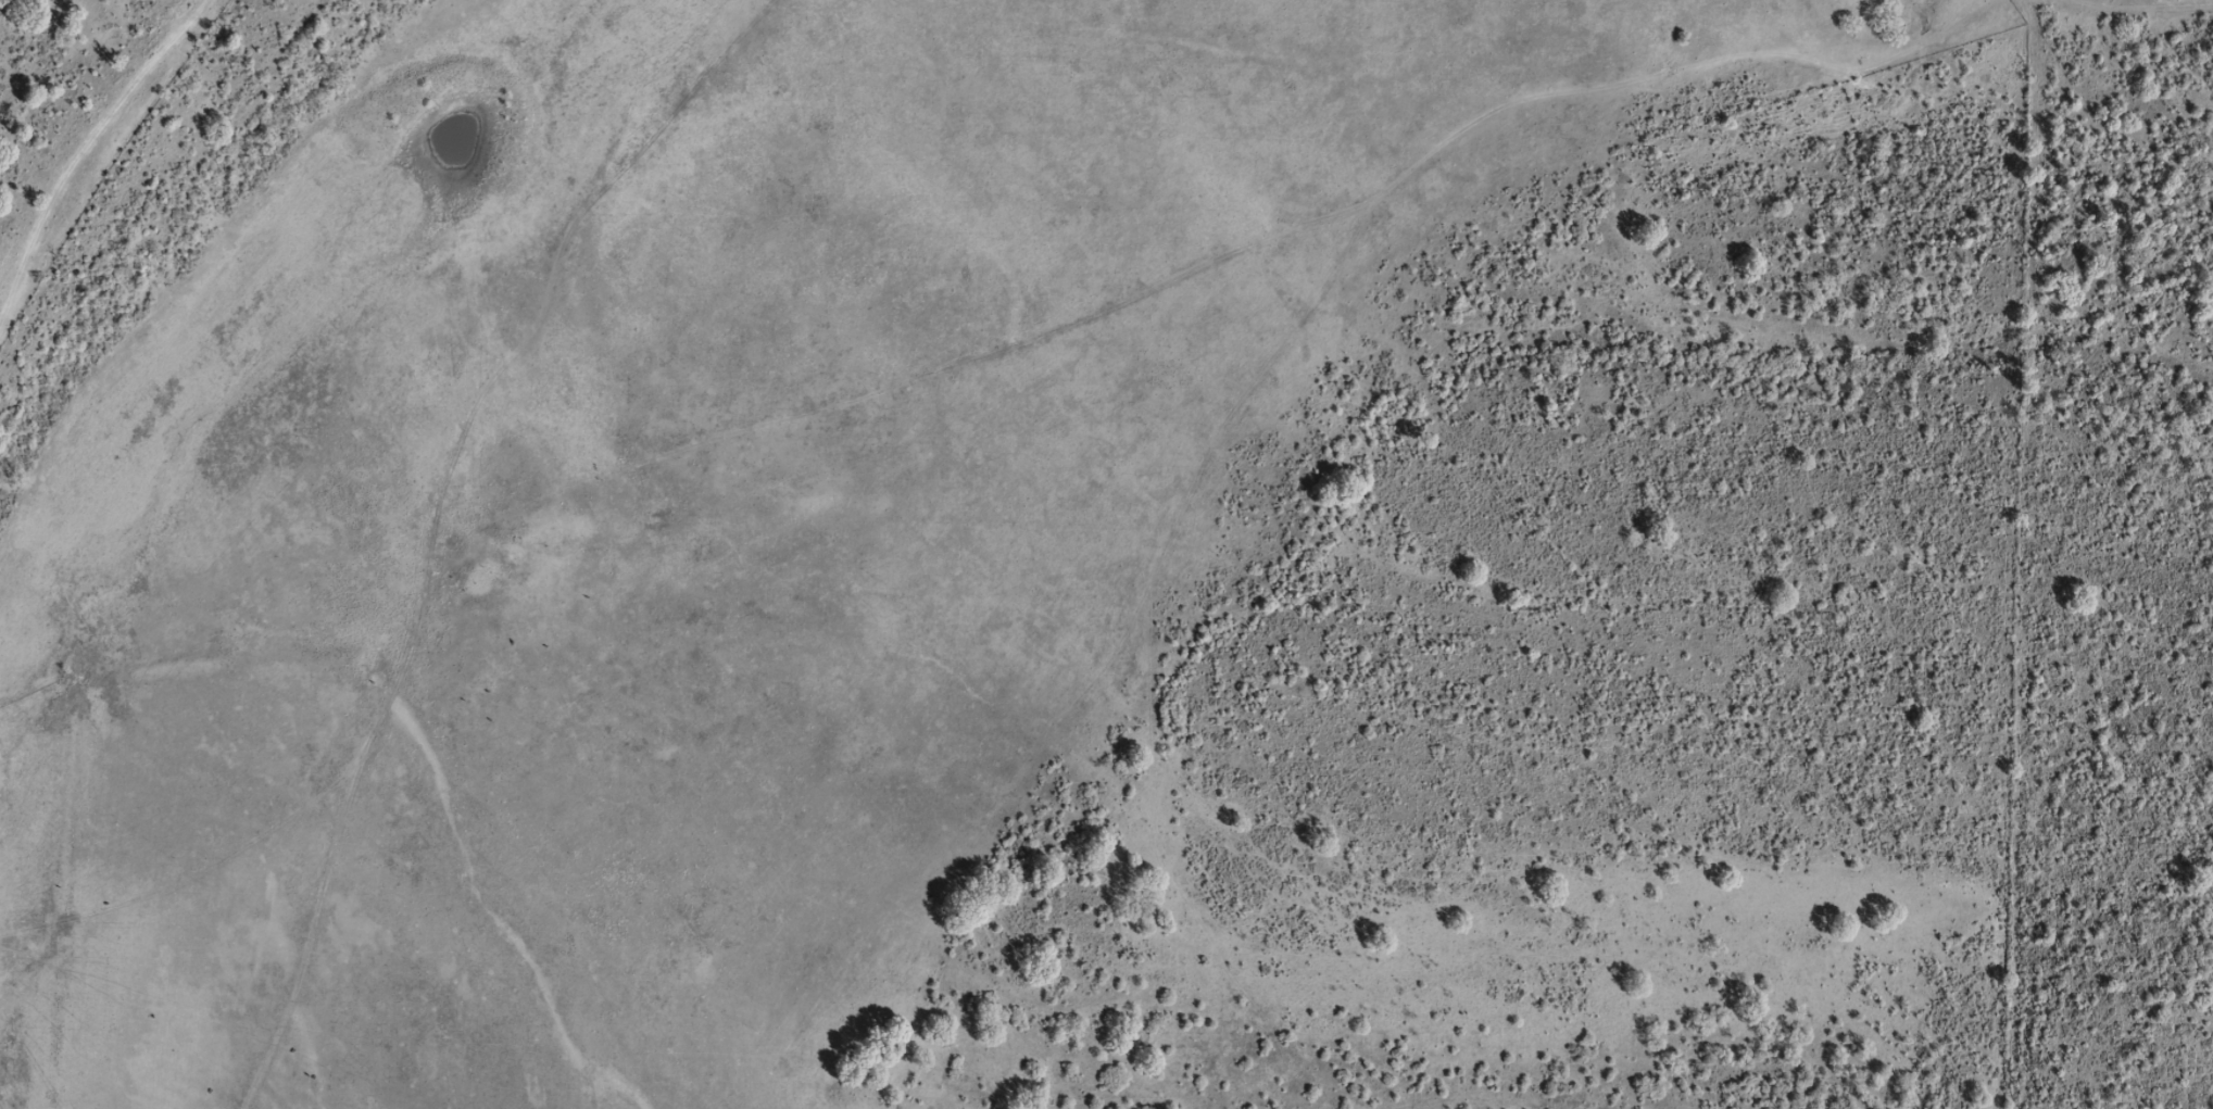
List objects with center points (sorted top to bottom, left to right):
road: (129, 205)
road: (1193, 542)

